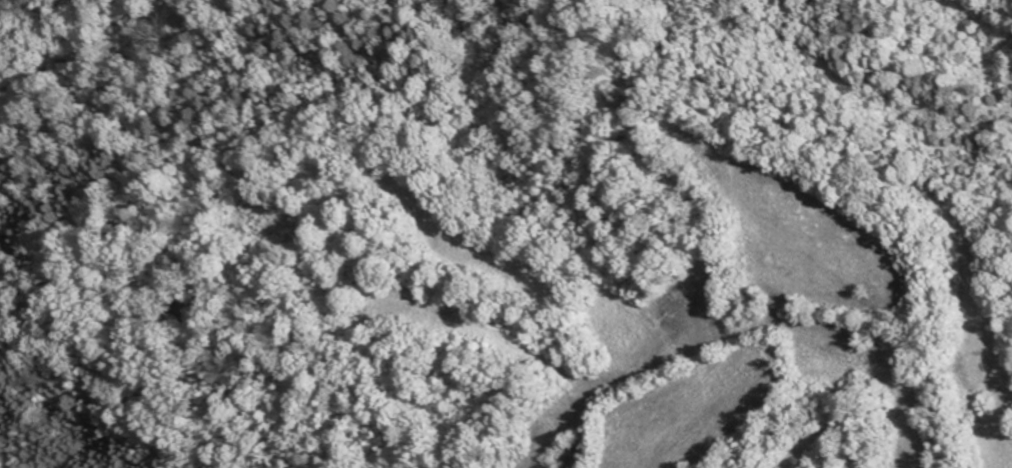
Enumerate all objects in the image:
road: (874, 384)

